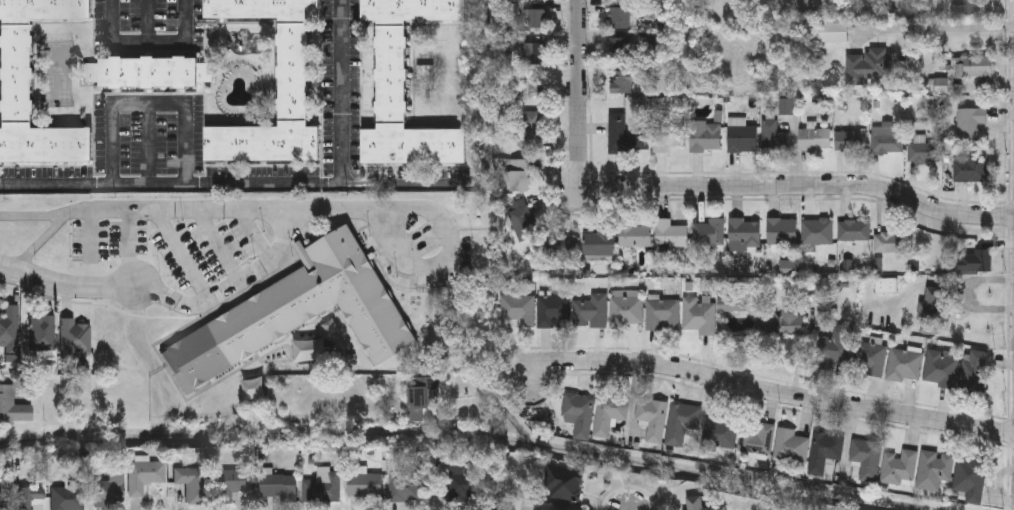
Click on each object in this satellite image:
building: (622, 0)
building: (965, 7)
building: (623, 19)
building: (535, 20)
road: (935, 28)
building: (832, 34)
road: (148, 47)
building: (620, 48)
building: (535, 55)
building: (973, 68)
building: (870, 69)
building: (150, 73)
building: (293, 73)
building: (14, 74)
building: (622, 83)
building: (405, 87)
building: (537, 87)
road: (580, 92)
road: (148, 101)
building: (970, 125)
building: (533, 132)
building: (625, 137)
building: (667, 138)
building: (706, 138)
building: (741, 138)
building: (774, 139)
building: (814, 140)
building: (888, 141)
building: (852, 142)
building: (922, 154)
building: (970, 170)
building: (519, 177)
road: (263, 184)
road: (405, 184)
road: (803, 184)
road: (196, 206)
building: (523, 225)
building: (817, 233)
building: (854, 233)
building: (782, 234)
building: (745, 235)
building: (671, 236)
building: (709, 236)
building: (636, 238)
building: (890, 244)
building: (599, 245)
road: (93, 246)
road: (122, 246)
road: (443, 255)
building: (983, 262)
road: (67, 283)
road: (232, 283)
building: (733, 307)
building: (626, 309)
building: (518, 311)
building: (297, 312)
building: (553, 313)
building: (591, 313)
building: (662, 316)
building: (698, 318)
building: (765, 323)
building: (793, 323)
building: (9, 326)
building: (43, 334)
building: (75, 338)
building: (836, 347)
building: (871, 361)
building: (905, 367)
building: (941, 372)
building: (974, 374)
road: (769, 391)
building: (423, 396)
building: (12, 407)
road: (484, 407)
building: (579, 415)
building: (609, 416)
building: (653, 419)
building: (681, 424)
building: (720, 436)
building: (756, 440)
building: (790, 447)
building: (825, 453)
building: (865, 456)
building: (899, 469)
building: (934, 472)
building: (145, 477)
building: (971, 481)
building: (192, 484)
building: (235, 485)
building: (365, 486)
building: (465, 486)
building: (562, 486)
building: (279, 487)
building: (323, 488)
building: (405, 490)
building: (110, 492)
building: (30, 497)
building: (68, 499)
building: (693, 506)

